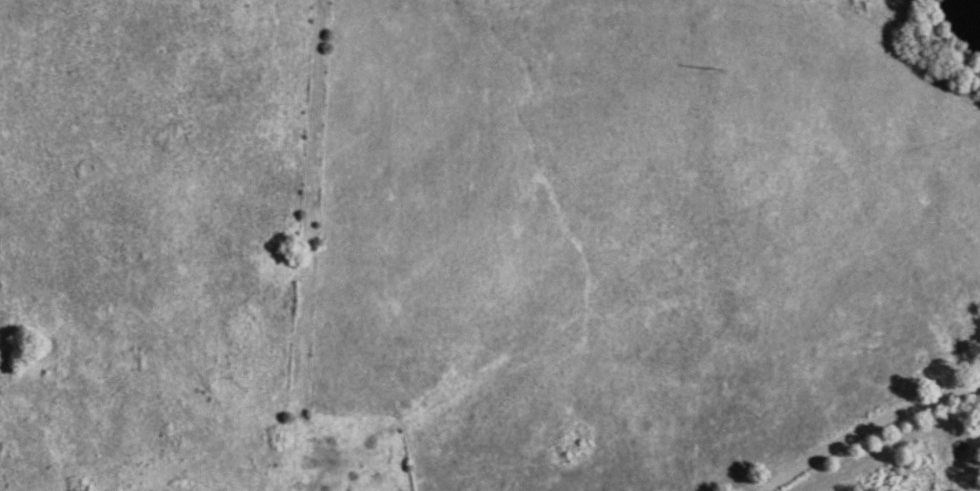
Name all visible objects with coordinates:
road: (863, 430)

